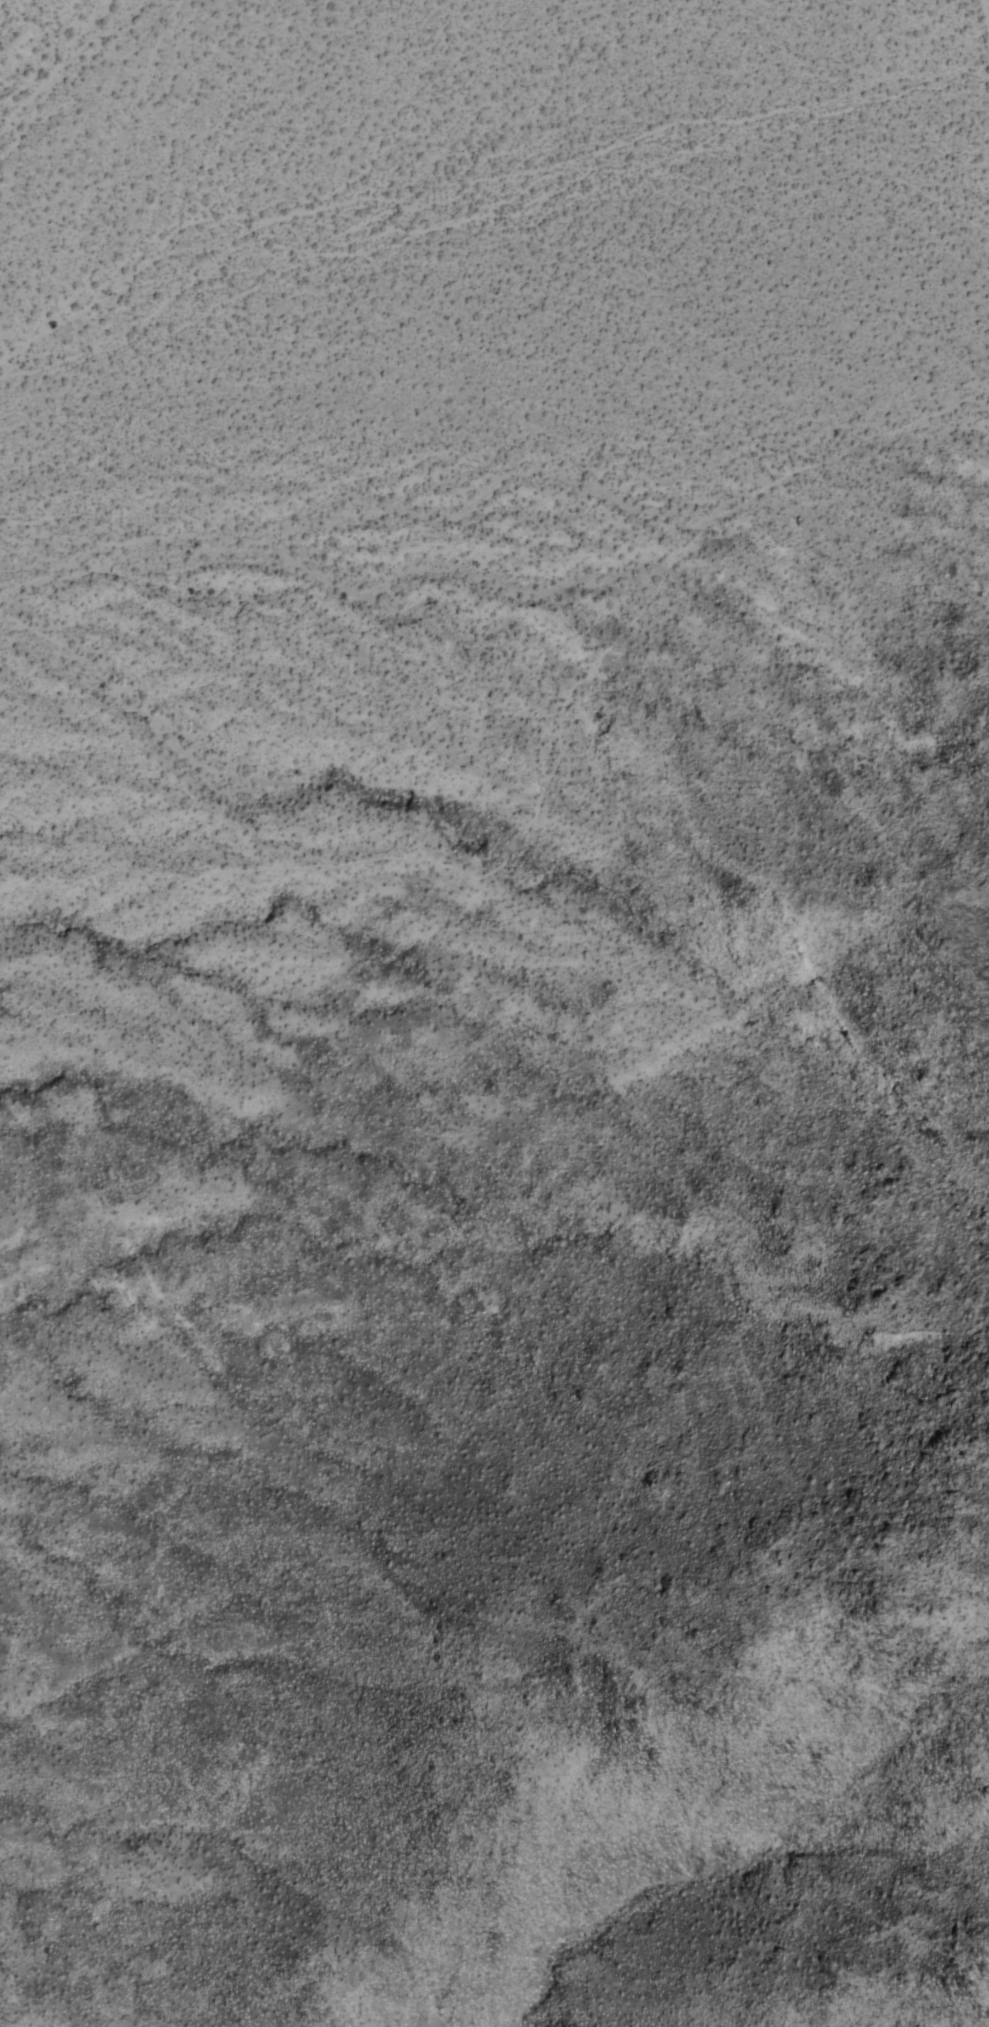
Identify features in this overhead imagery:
road: (540, 801)

